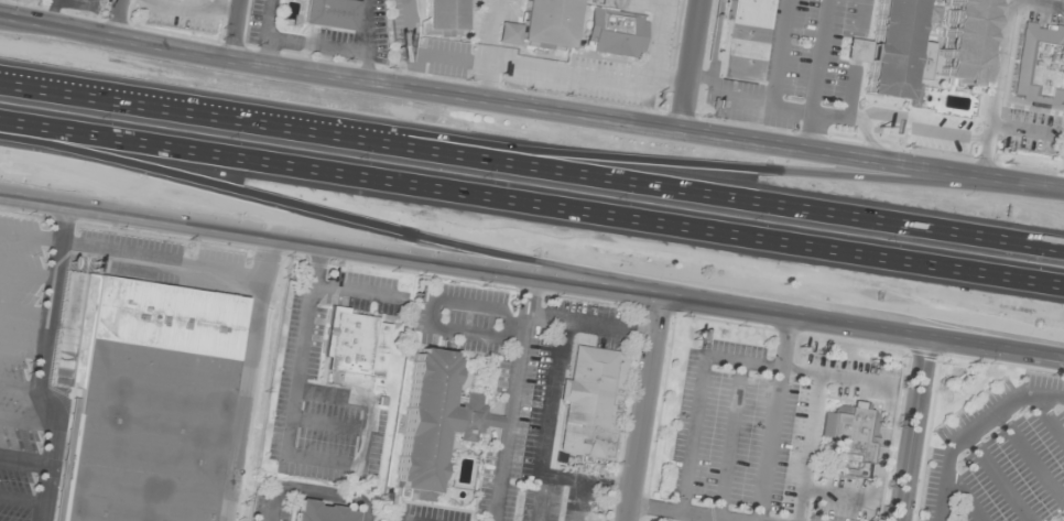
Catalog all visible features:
road: (1023, 0)
road: (637, 3)
road: (77, 4)
road: (53, 12)
building: (332, 13)
building: (444, 14)
building: (932, 14)
road: (121, 19)
road: (861, 19)
road: (996, 19)
building: (539, 24)
road: (408, 26)
road: (240, 31)
road: (506, 31)
building: (612, 32)
road: (716, 39)
building: (742, 40)
building: (959, 40)
road: (489, 48)
building: (894, 48)
road: (857, 50)
building: (858, 50)
road: (780, 53)
road: (448, 58)
road: (1000, 63)
building: (1040, 63)
road: (692, 64)
road: (413, 70)
road: (816, 74)
road: (611, 80)
road: (669, 80)
road: (851, 90)
road: (531, 106)
road: (791, 109)
road: (922, 128)
road: (1028, 130)
road: (644, 160)
road: (532, 164)
road: (531, 207)
road: (329, 214)
road: (128, 260)
road: (464, 262)
road: (28, 271)
road: (24, 311)
road: (996, 344)
building: (355, 345)
road: (21, 349)
road: (41, 365)
road: (19, 384)
building: (150, 402)
building: (593, 402)
road: (641, 405)
building: (433, 422)
road: (28, 423)
road: (913, 427)
road: (971, 428)
building: (850, 435)
building: (996, 446)
road: (25, 460)
road: (22, 499)
building: (323, 512)

